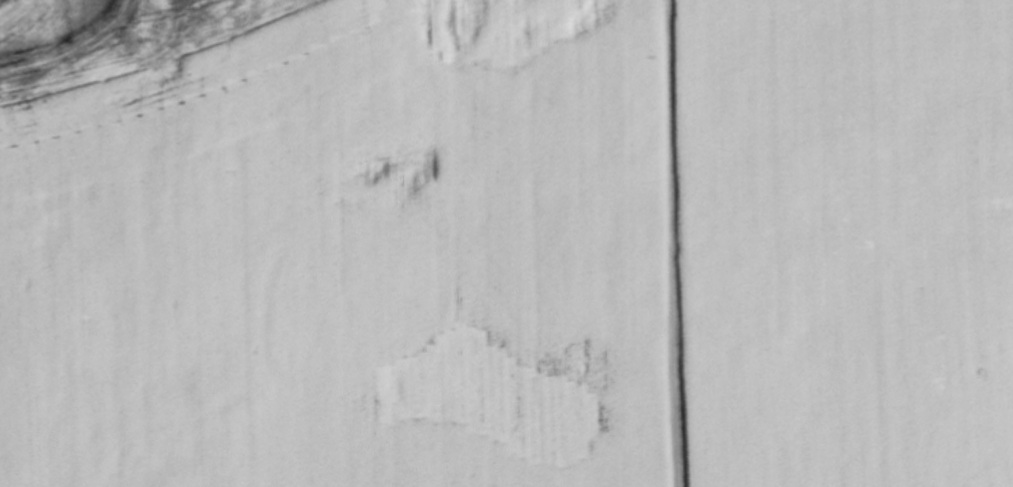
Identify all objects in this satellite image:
crop: (506, 243)
road: (671, 243)

